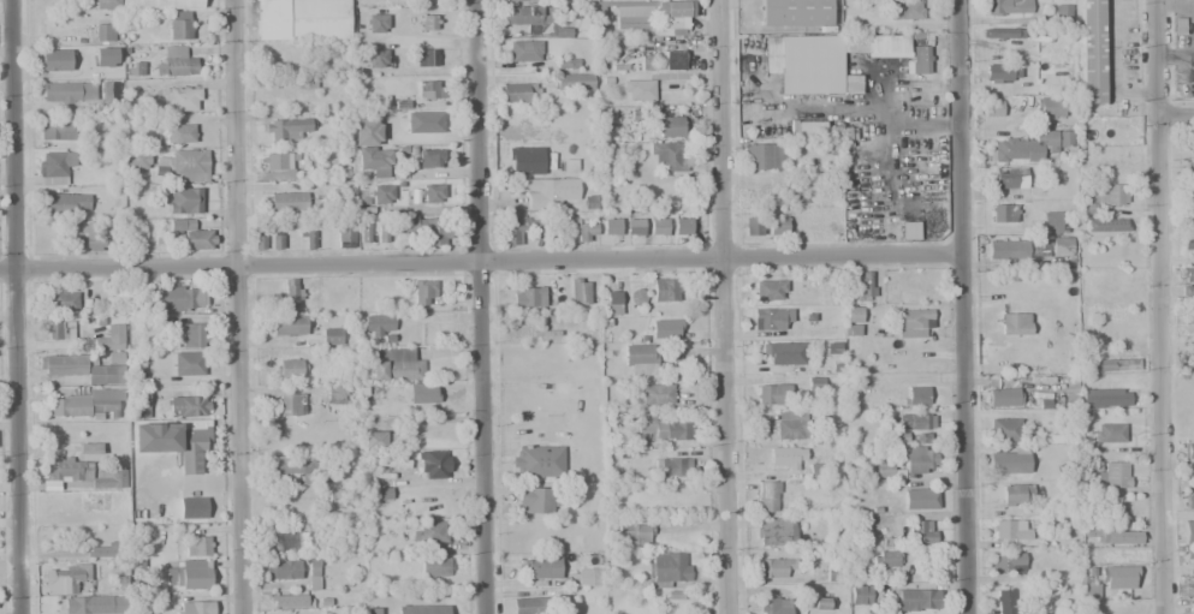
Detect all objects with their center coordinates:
building: (519, 0)
building: (107, 5)
building: (161, 5)
building: (1000, 7)
building: (904, 8)
building: (1061, 11)
building: (794, 13)
building: (675, 18)
building: (302, 19)
building: (533, 20)
building: (632, 22)
building: (427, 23)
building: (376, 24)
building: (179, 25)
building: (103, 32)
building: (1003, 32)
building: (874, 43)
building: (524, 50)
building: (1091, 50)
building: (779, 55)
building: (105, 56)
building: (379, 58)
building: (428, 58)
building: (919, 59)
building: (55, 60)
building: (173, 62)
building: (663, 62)
building: (1000, 72)
building: (809, 81)
building: (574, 82)
building: (430, 89)
building: (637, 90)
building: (69, 91)
building: (108, 93)
building: (517, 93)
building: (183, 99)
power tower: (1170, 99)
building: (1050, 107)
building: (992, 108)
road: (1174, 113)
building: (509, 118)
building: (422, 121)
building: (670, 126)
building: (809, 129)
building: (57, 130)
building: (290, 130)
building: (367, 131)
building: (179, 132)
road: (996, 132)
building: (1051, 141)
building: (1009, 150)
building: (1190, 154)
building: (666, 155)
building: (762, 156)
building: (432, 159)
building: (136, 160)
building: (376, 160)
building: (525, 161)
building: (184, 163)
building: (273, 166)
building: (52, 167)
building: (1006, 178)
building: (1042, 191)
building: (433, 192)
building: (546, 192)
building: (381, 193)
building: (792, 193)
building: (1101, 197)
building: (180, 199)
building: (287, 201)
building: (65, 204)
building: (1002, 213)
building: (1189, 219)
building: (1051, 222)
building: (1106, 225)
building: (611, 226)
building: (634, 226)
building: (682, 226)
building: (752, 226)
building: (777, 226)
building: (519, 227)
building: (658, 227)
building: (422, 228)
building: (582, 228)
building: (909, 231)
building: (363, 232)
building: (382, 232)
building: (345, 233)
building: (189, 234)
building: (307, 236)
building: (93, 238)
building: (277, 242)
building: (259, 243)
building: (1188, 245)
building: (1061, 246)
building: (1002, 250)
road: (480, 260)
building: (1187, 275)
building: (862, 286)
building: (770, 290)
building: (580, 291)
building: (665, 291)
building: (424, 292)
building: (1188, 292)
building: (291, 294)
building: (179, 297)
building: (528, 297)
building: (636, 298)
building: (61, 302)
building: (612, 302)
road: (12, 306)
road: (234, 306)
road: (480, 306)
road: (724, 306)
road: (962, 306)
road: (1157, 306)
building: (853, 315)
building: (1187, 317)
building: (767, 320)
building: (914, 323)
building: (1014, 323)
building: (289, 324)
building: (379, 326)
building: (59, 329)
building: (665, 329)
building: (192, 335)
building: (331, 335)
building: (109, 338)
building: (785, 353)
building: (1188, 354)
building: (638, 359)
building: (189, 363)
building: (1115, 364)
building: (394, 365)
building: (83, 368)
building: (290, 368)
building: (1070, 391)
building: (422, 393)
building: (653, 394)
building: (335, 395)
building: (772, 395)
building: (914, 395)
building: (1003, 397)
building: (1105, 399)
building: (85, 403)
building: (139, 404)
building: (293, 404)
building: (186, 406)
building: (913, 423)
building: (791, 425)
building: (663, 428)
building: (1004, 428)
building: (1107, 433)
building: (921, 439)
building: (173, 440)
building: (373, 440)
building: (89, 448)
building: (1189, 451)
building: (785, 458)
building: (917, 459)
building: (1006, 460)
building: (392, 461)
building: (537, 461)
building: (433, 465)
building: (624, 465)
building: (671, 466)
building: (301, 467)
building: (884, 470)
building: (1189, 471)
building: (83, 472)
building: (1112, 475)
building: (382, 493)
building: (1016, 494)
building: (767, 496)
building: (919, 499)
building: (535, 500)
building: (1188, 501)
building: (194, 507)
building: (1010, 529)
building: (435, 531)
building: (774, 531)
building: (921, 531)
building: (1188, 532)
building: (634, 533)
building: (287, 537)
building: (1118, 537)
building: (196, 547)
building: (102, 548)
building: (1189, 552)
building: (884, 559)
building: (1006, 561)
building: (435, 566)
building: (772, 567)
building: (539, 568)
building: (667, 568)
building: (283, 570)
building: (77, 572)
building: (833, 573)
building: (186, 576)
building: (313, 577)
building: (586, 577)
building: (1117, 577)
building: (1187, 589)
building: (1089, 591)
building: (859, 595)
building: (914, 600)
building: (287, 601)
building: (1008, 601)
building: (821, 603)
building: (95, 604)
building: (774, 604)
building: (531, 606)
building: (194, 607)
building: (422, 609)
building: (372, 610)

